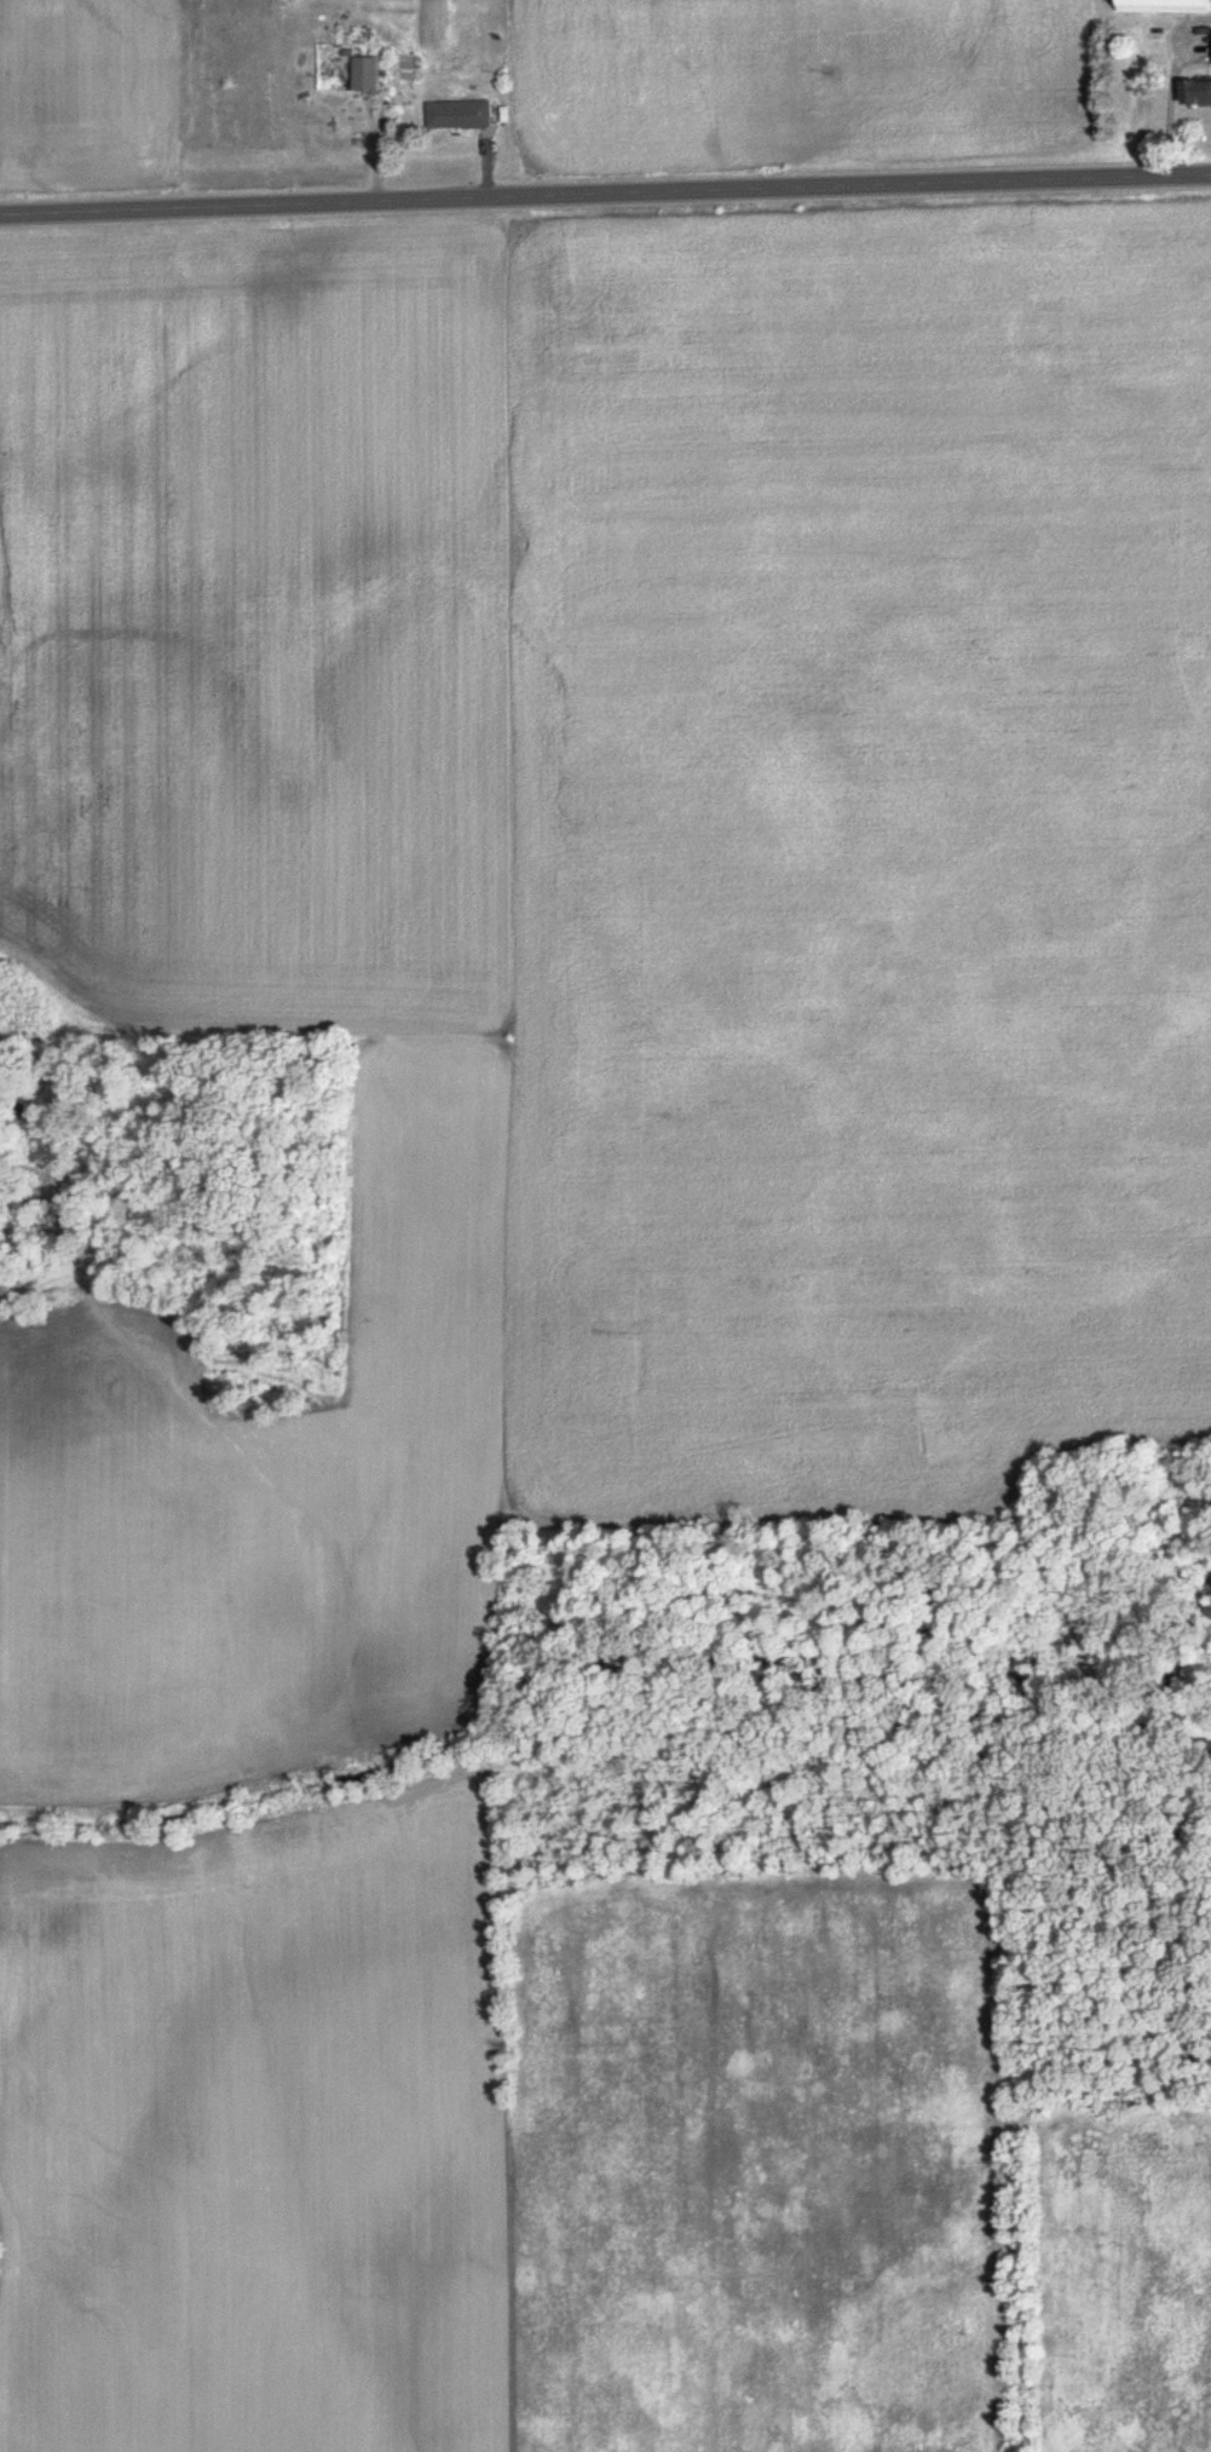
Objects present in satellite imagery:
building: (1167, 6)
building: (367, 74)
crop: (795, 81)
building: (1198, 81)
crop: (87, 98)
building: (461, 114)
road: (605, 198)
crop: (256, 627)
crop: (858, 856)
crop: (272, 1479)
crop: (258, 2137)

